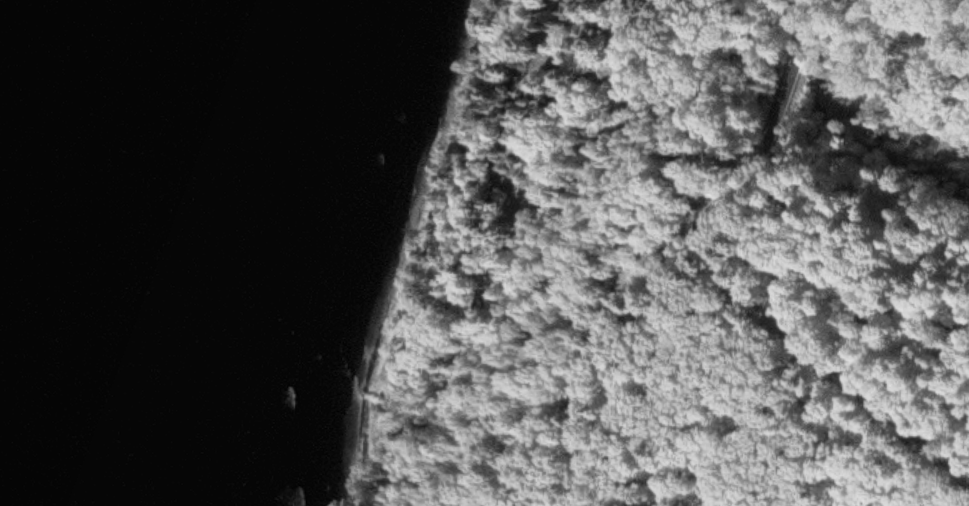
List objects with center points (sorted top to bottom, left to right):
road: (677, 250)
building: (723, 490)

